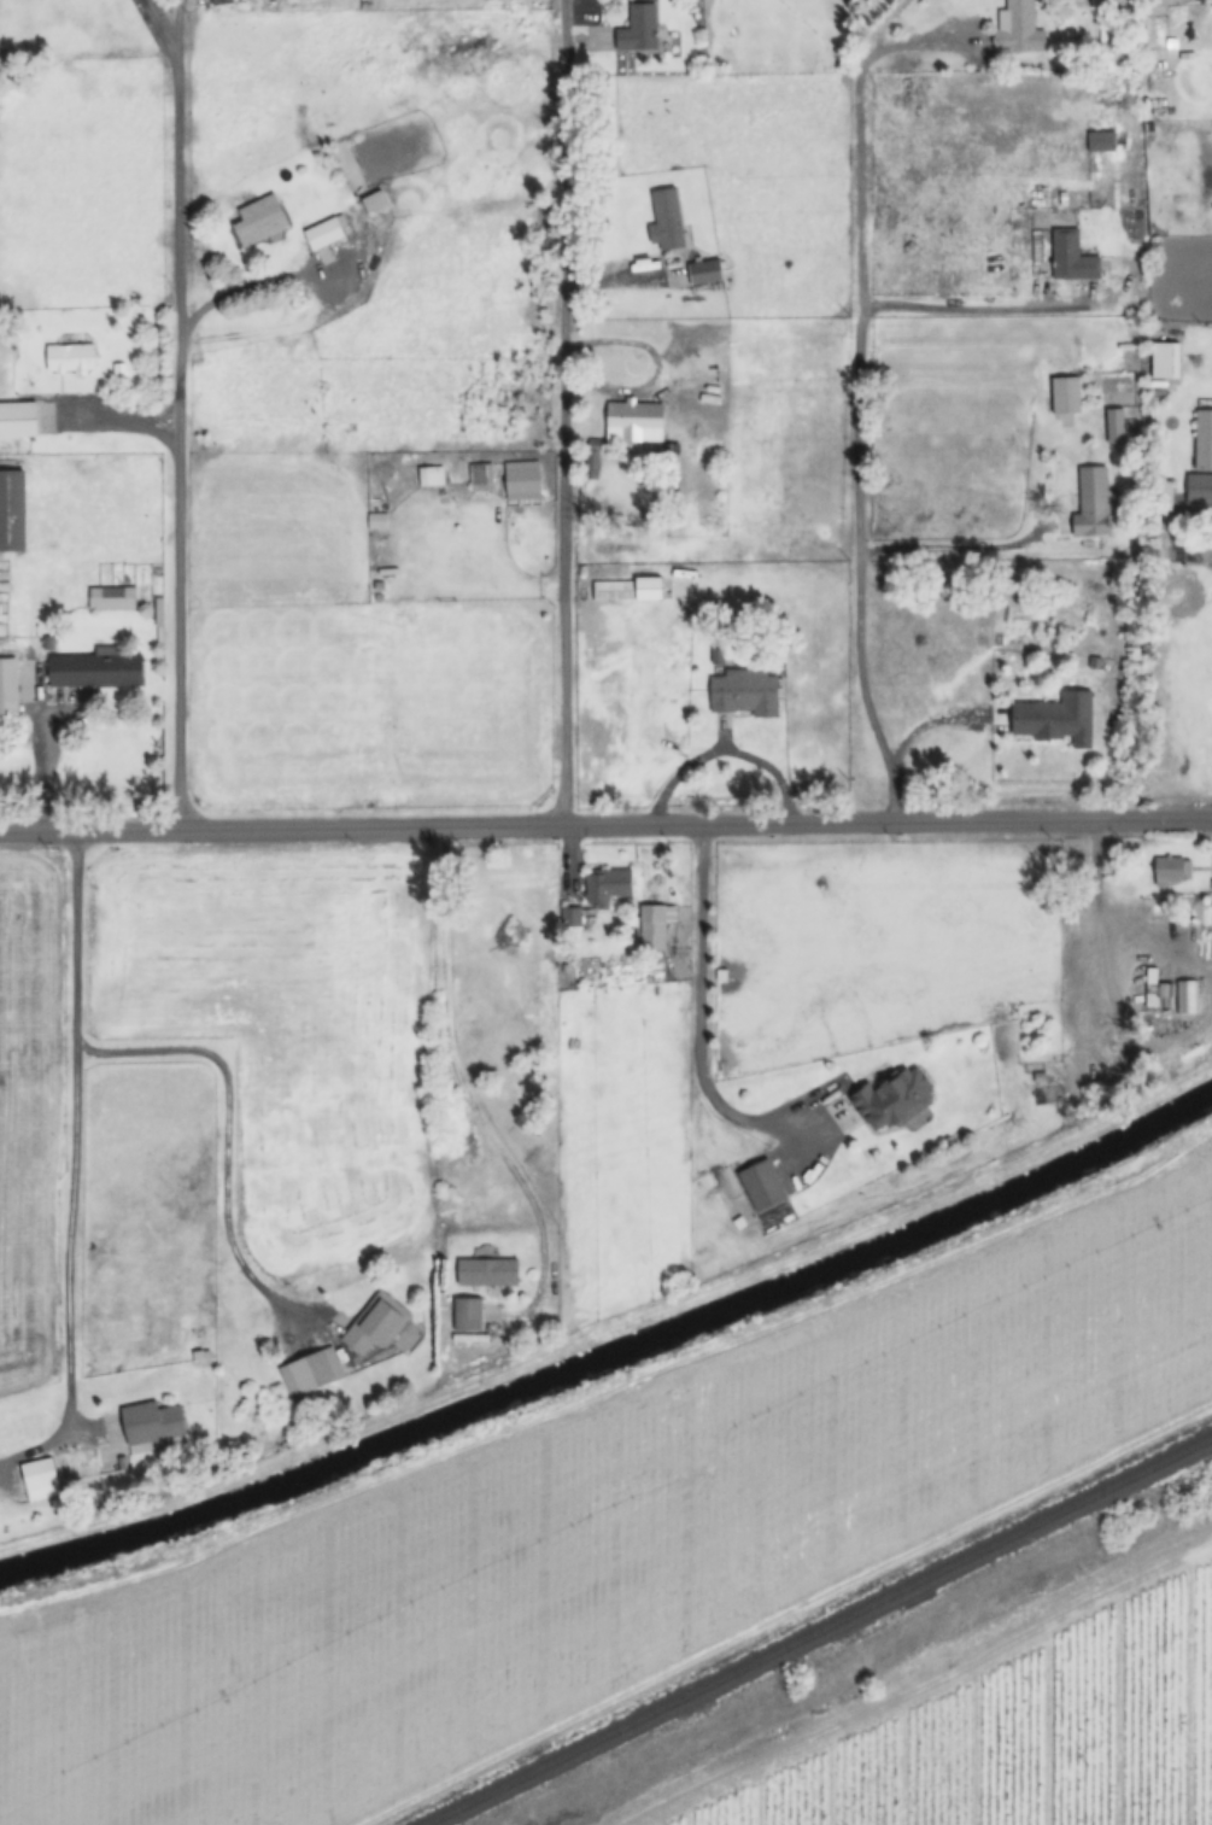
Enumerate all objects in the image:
building: (1099, 4)
building: (637, 30)
building: (1017, 30)
road: (853, 96)
building: (1099, 142)
building: (373, 203)
building: (664, 221)
building: (259, 222)
building: (326, 233)
building: (1070, 257)
building: (703, 274)
road: (944, 308)
building: (69, 359)
building: (1160, 373)
building: (1065, 397)
road: (180, 410)
road: (562, 414)
building: (18, 421)
building: (633, 421)
building: (1114, 427)
building: (1201, 460)
building: (429, 476)
building: (474, 479)
building: (520, 481)
building: (1093, 503)
road: (859, 517)
road: (949, 551)
building: (30, 589)
building: (626, 590)
building: (115, 604)
building: (95, 671)
building: (7, 686)
building: (743, 692)
building: (1055, 718)
road: (902, 737)
road: (37, 750)
road: (605, 827)
building: (1170, 871)
building: (607, 885)
building: (1158, 996)
road: (701, 1020)
building: (892, 1100)
road: (75, 1129)
building: (763, 1183)
building: (486, 1273)
building: (466, 1315)
building: (375, 1324)
building: (309, 1373)
building: (151, 1421)
building: (39, 1479)
crop: (603, 1529)
railway: (820, 1631)

